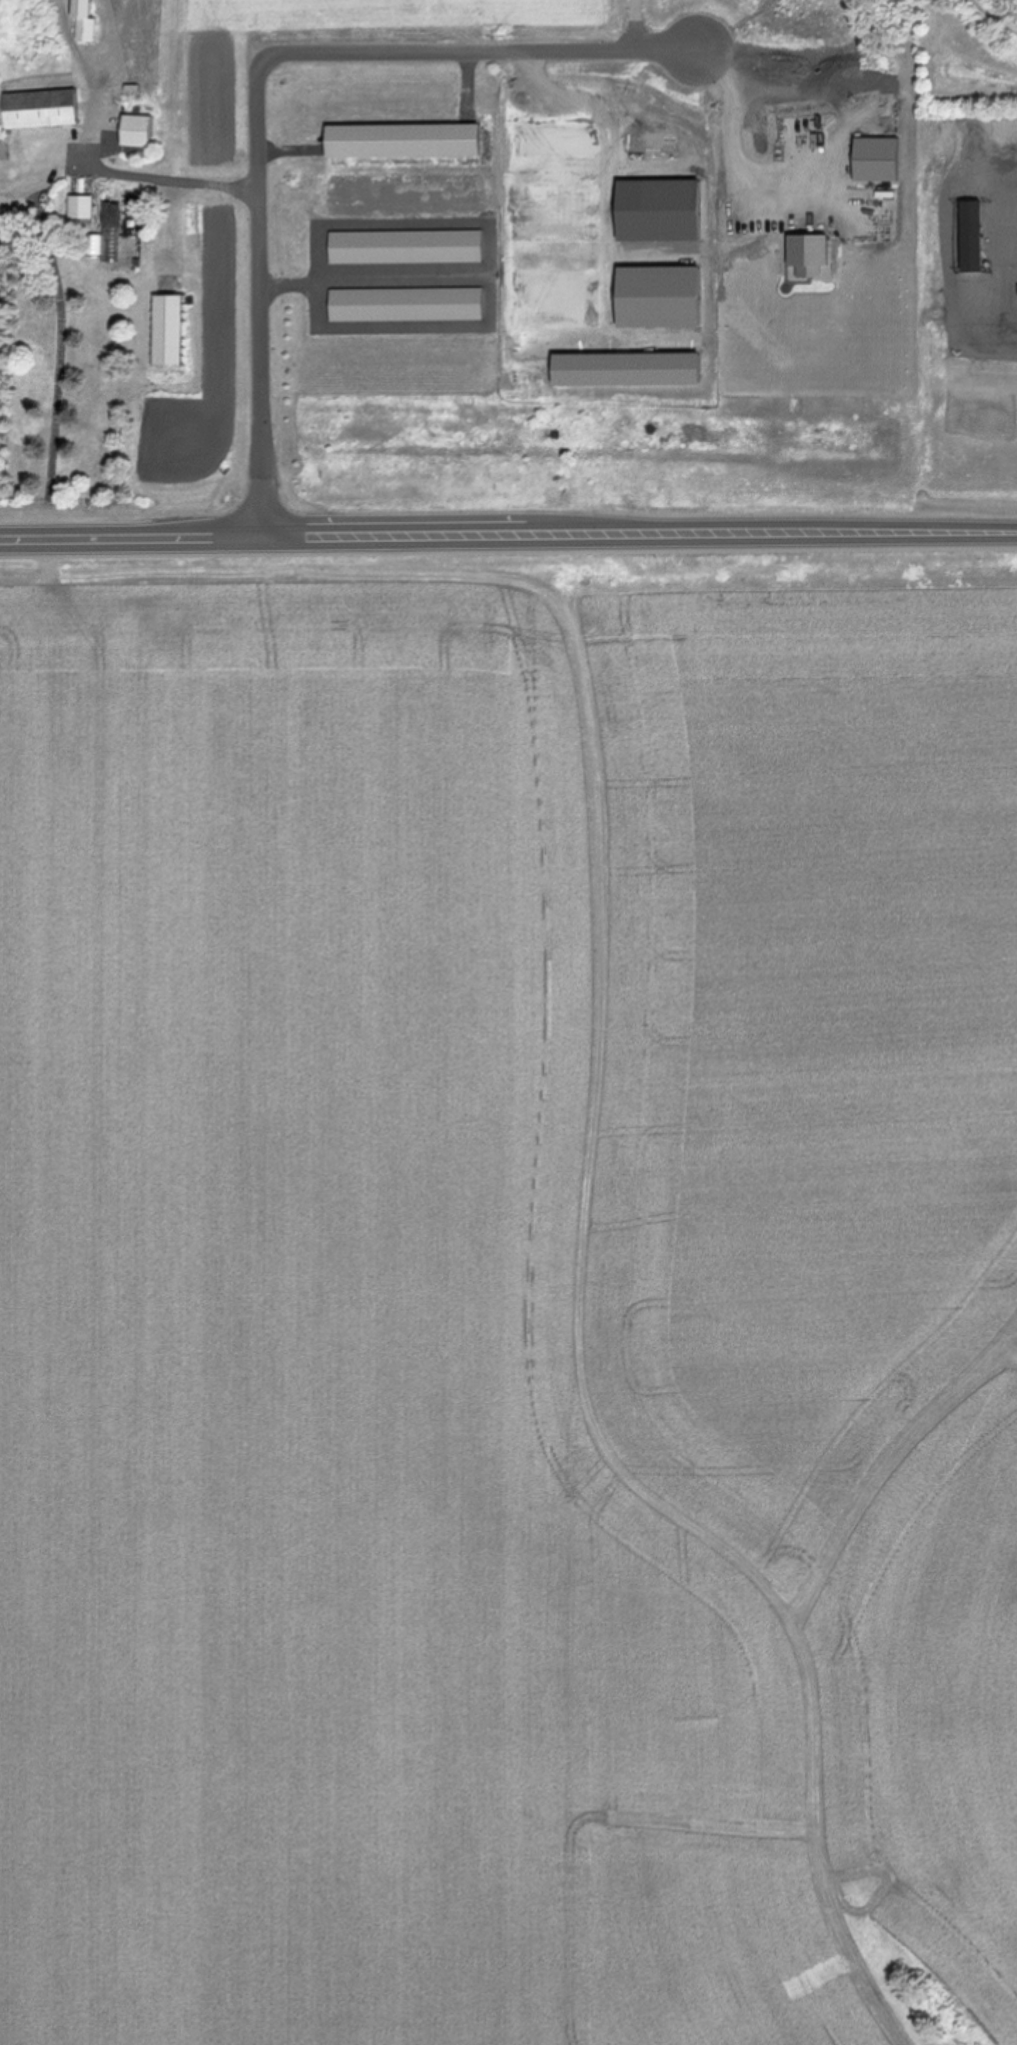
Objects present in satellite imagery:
building: (88, 19)
road: (629, 24)
road: (78, 45)
road: (121, 46)
road: (477, 51)
building: (44, 109)
building: (142, 131)
building: (408, 141)
road: (735, 150)
road: (138, 172)
building: (971, 238)
road: (258, 294)
building: (408, 305)
building: (172, 330)
road: (508, 545)

